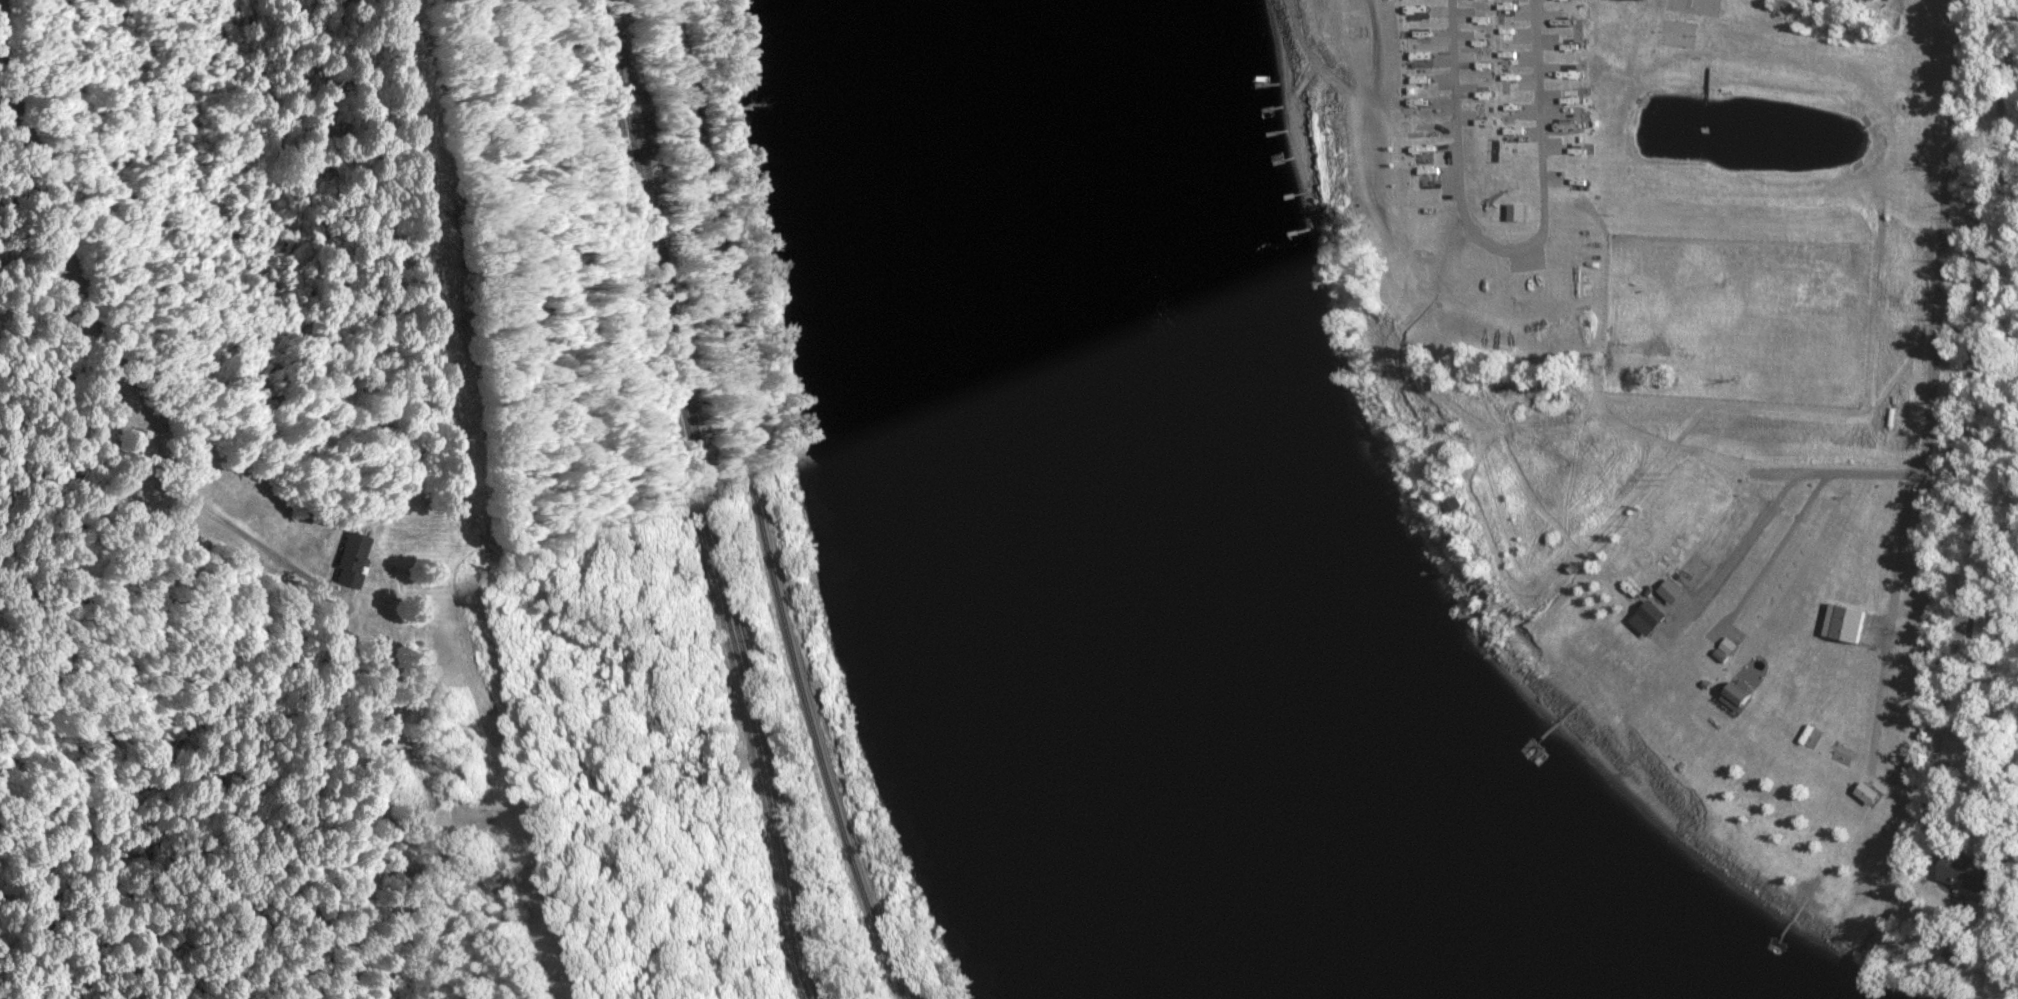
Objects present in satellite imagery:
road: (110, 352)
road: (1932, 390)
road: (701, 502)
railway: (781, 502)
building: (1459, 508)
road: (1770, 511)
river: (1093, 521)
building: (352, 561)
building: (1656, 618)
building: (1988, 624)
building: (1853, 626)
building: (1972, 874)
building: (513, 881)

